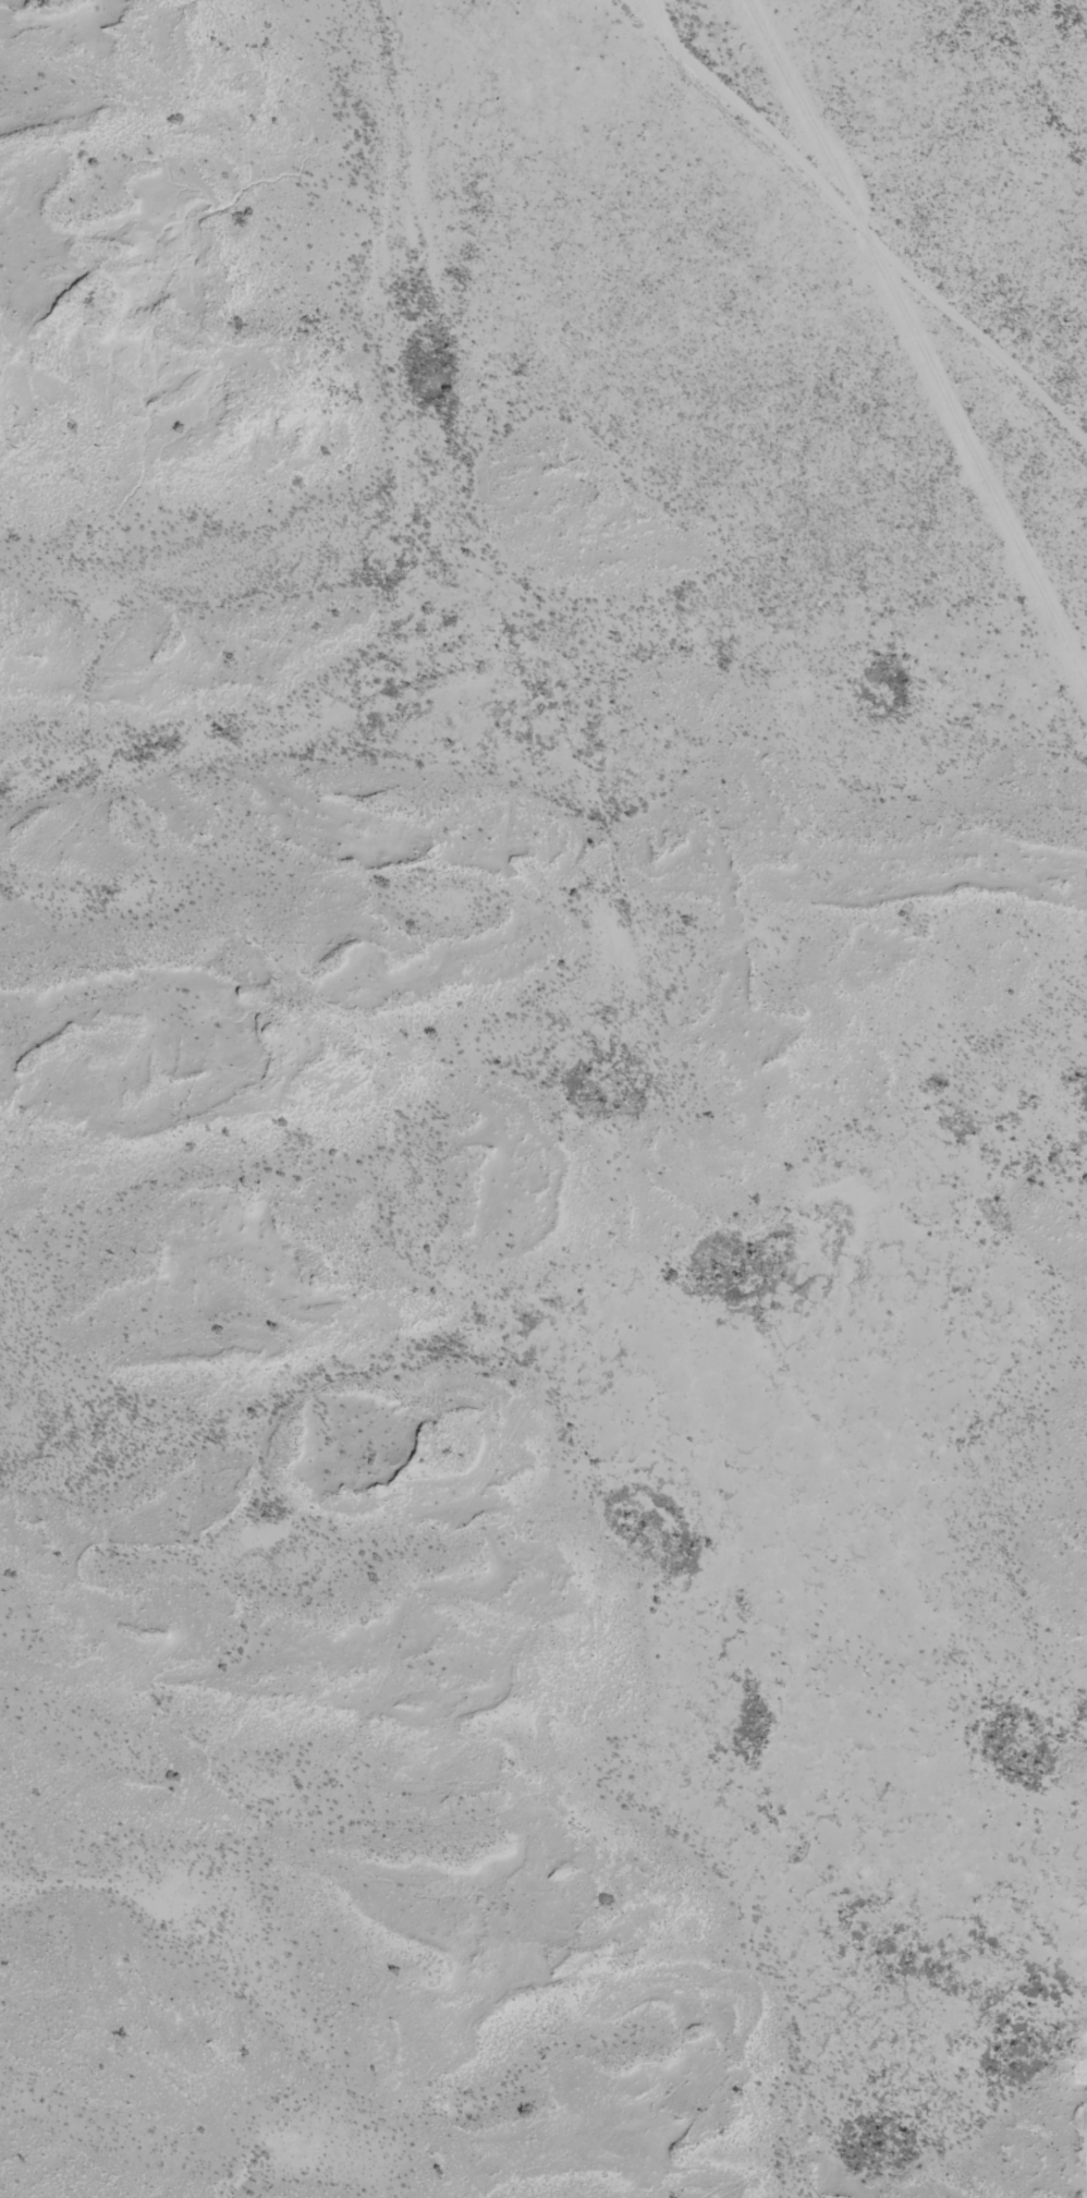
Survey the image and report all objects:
road: (862, 216)

